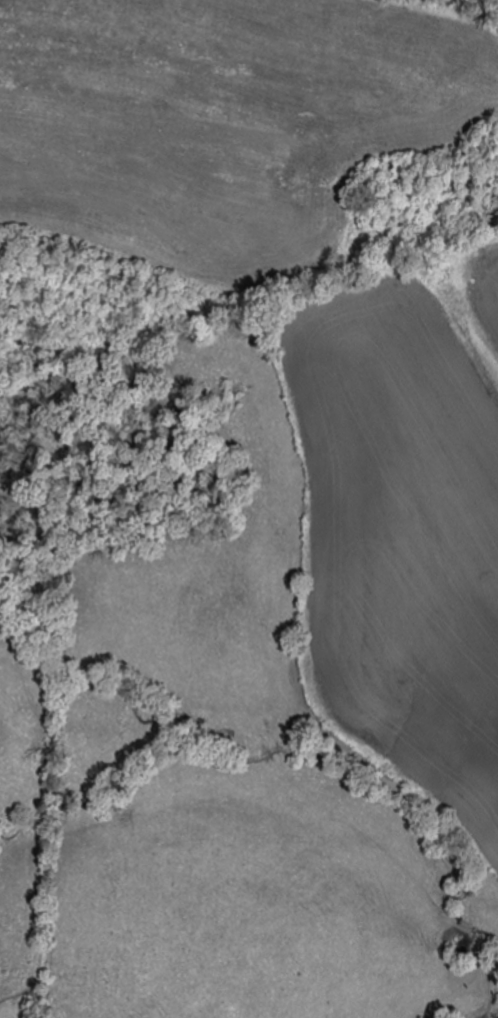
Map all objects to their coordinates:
road: (450, 895)

